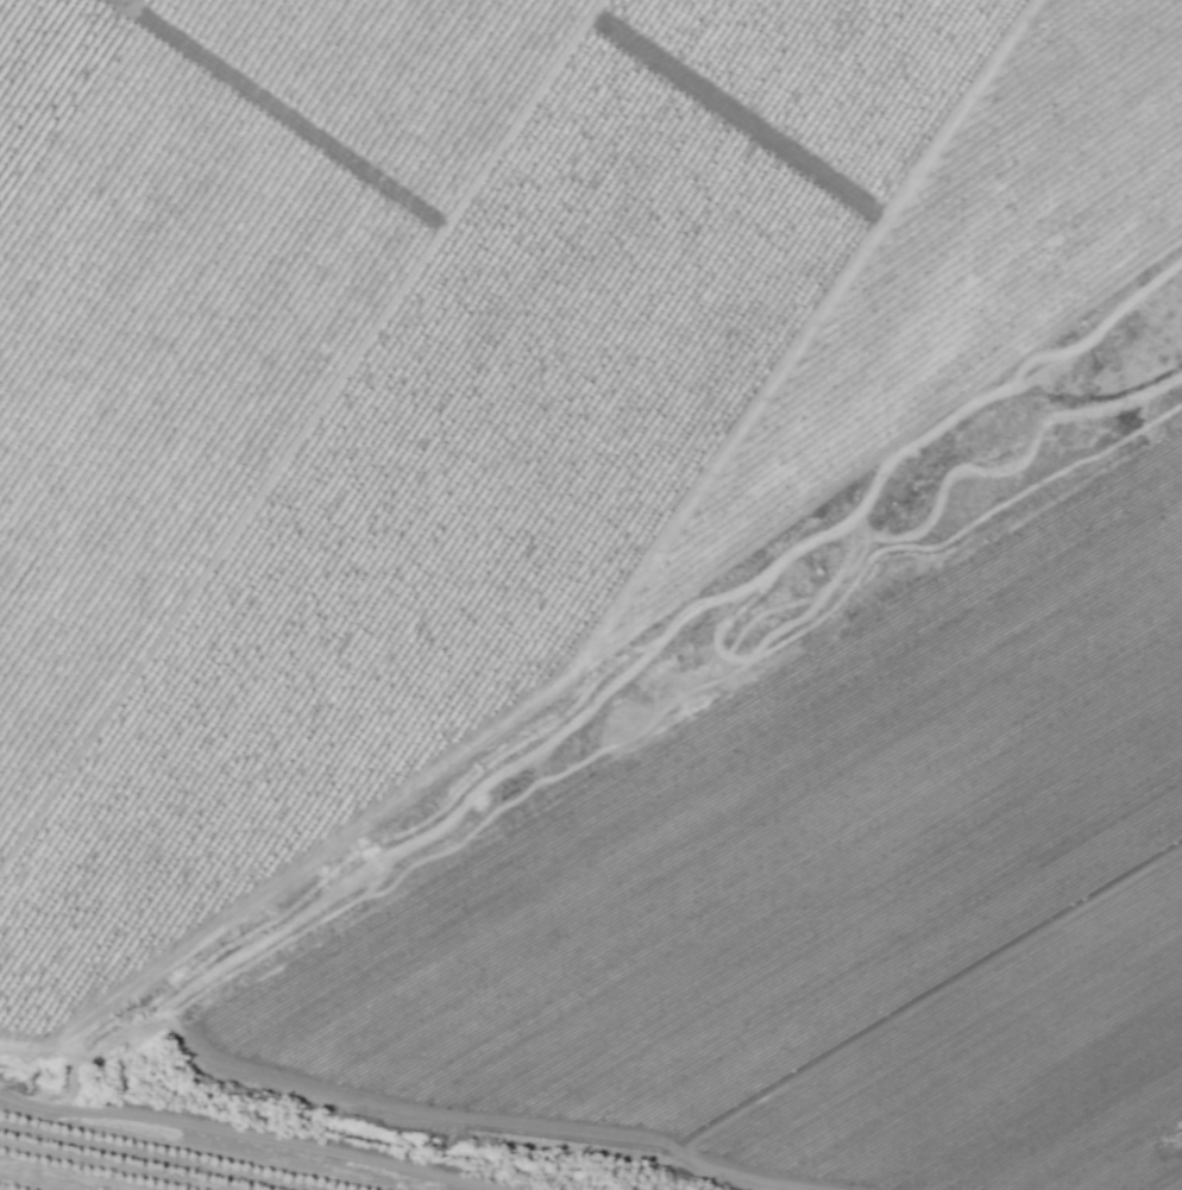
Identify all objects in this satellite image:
power tower: (42, 1089)
power tower: (1175, 1133)
road: (222, 1145)

